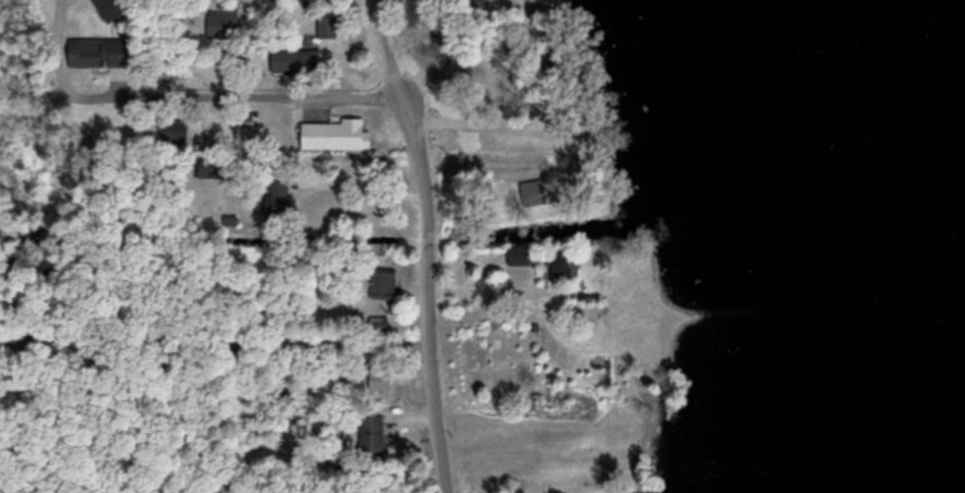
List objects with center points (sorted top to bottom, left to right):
building: (480, 0)
building: (108, 8)
building: (218, 24)
building: (325, 25)
building: (93, 50)
building: (291, 60)
road: (201, 98)
building: (535, 109)
building: (172, 129)
building: (337, 133)
building: (274, 194)
road: (427, 243)
building: (516, 255)
building: (557, 263)
building: (379, 282)
building: (591, 364)
building: (377, 376)
building: (369, 432)

